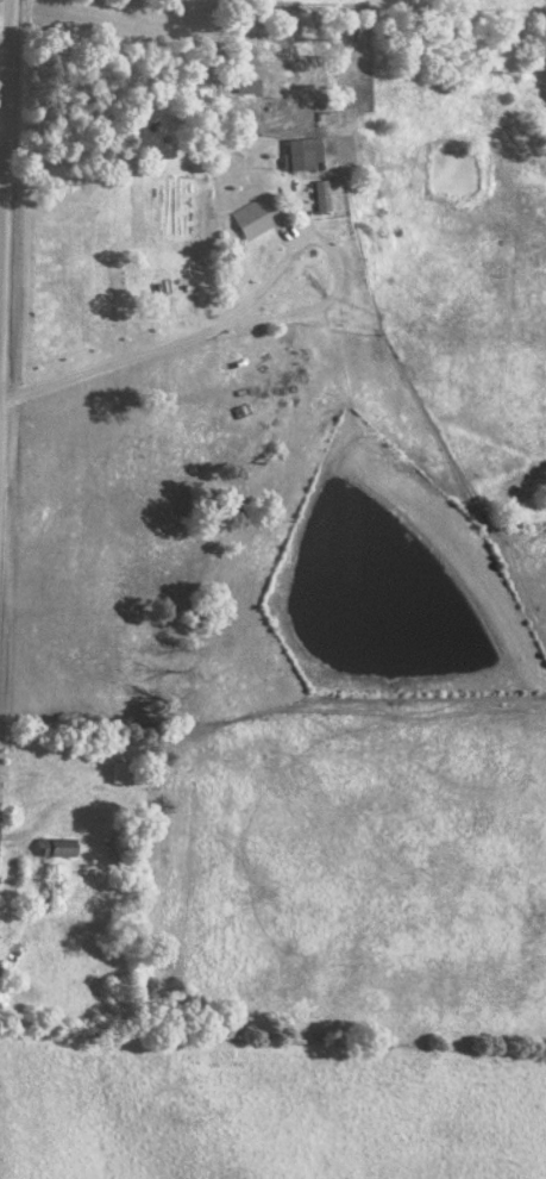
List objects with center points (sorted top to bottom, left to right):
building: (247, 86)
building: (281, 88)
building: (306, 154)
building: (322, 196)
building: (256, 216)
road: (6, 230)
building: (120, 773)
building: (58, 847)
building: (52, 888)

